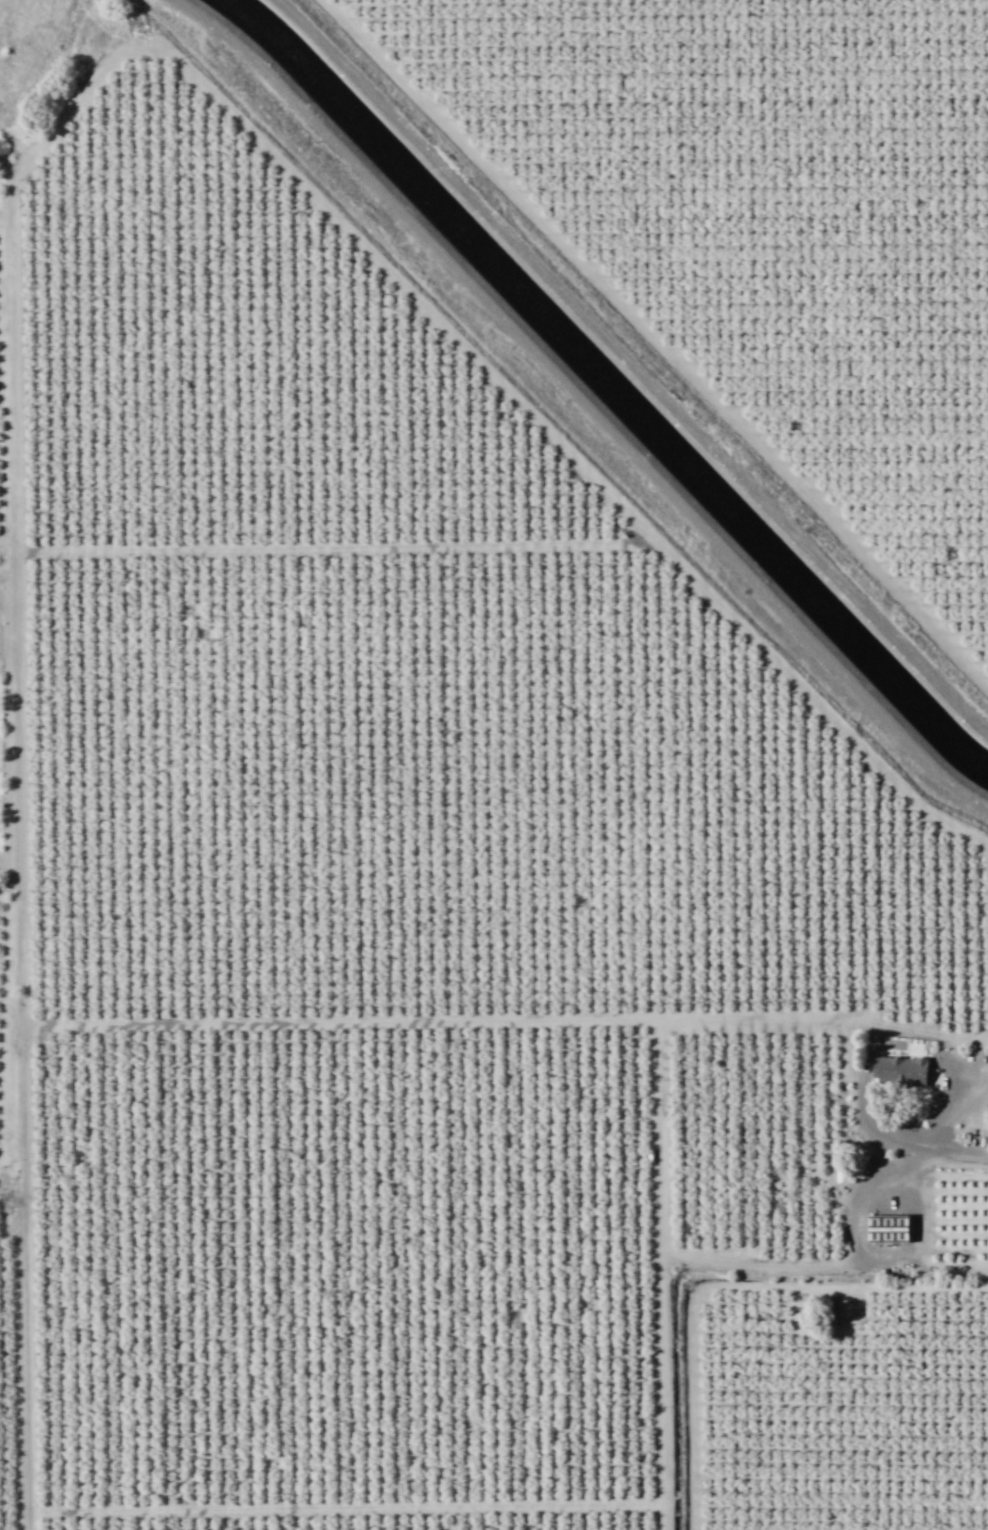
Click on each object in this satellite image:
road: (13, 177)
road: (655, 341)
road: (582, 402)
road: (335, 545)
road: (506, 1018)
building: (901, 1070)
road: (948, 1105)
road: (863, 1115)
road: (896, 1186)
road: (864, 1203)
road: (924, 1203)
building: (889, 1228)
road: (824, 1267)
road: (664, 1273)
road: (723, 1283)
road: (350, 1506)

